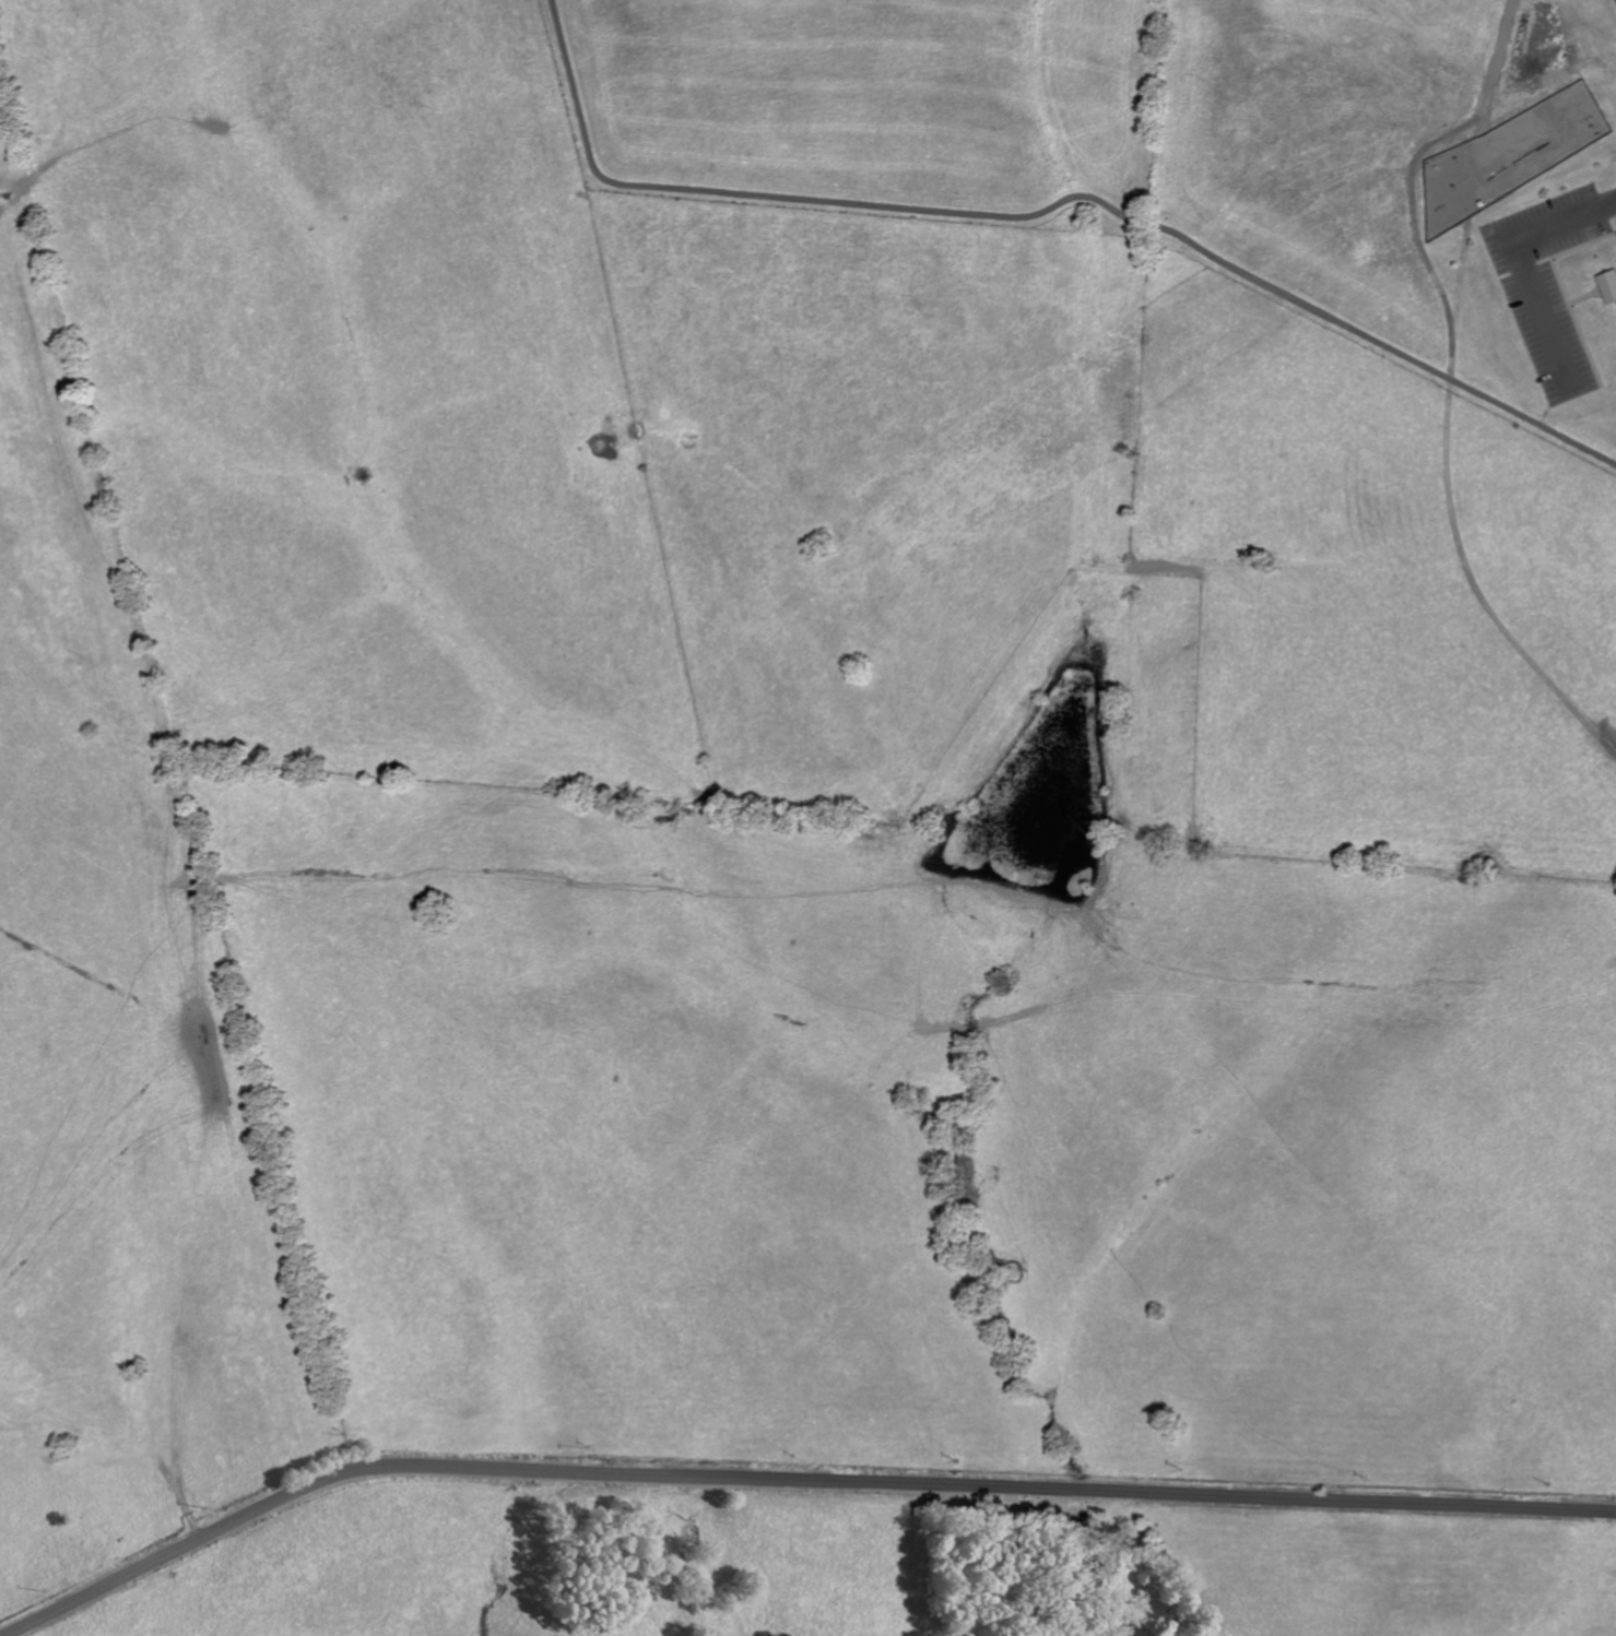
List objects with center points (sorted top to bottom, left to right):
road: (1488, 91)
road: (1483, 122)
park: (1179, 157)
road: (1048, 208)
road: (1416, 234)
road: (1523, 262)
building: (1609, 284)
road: (1483, 590)
road: (790, 1478)

